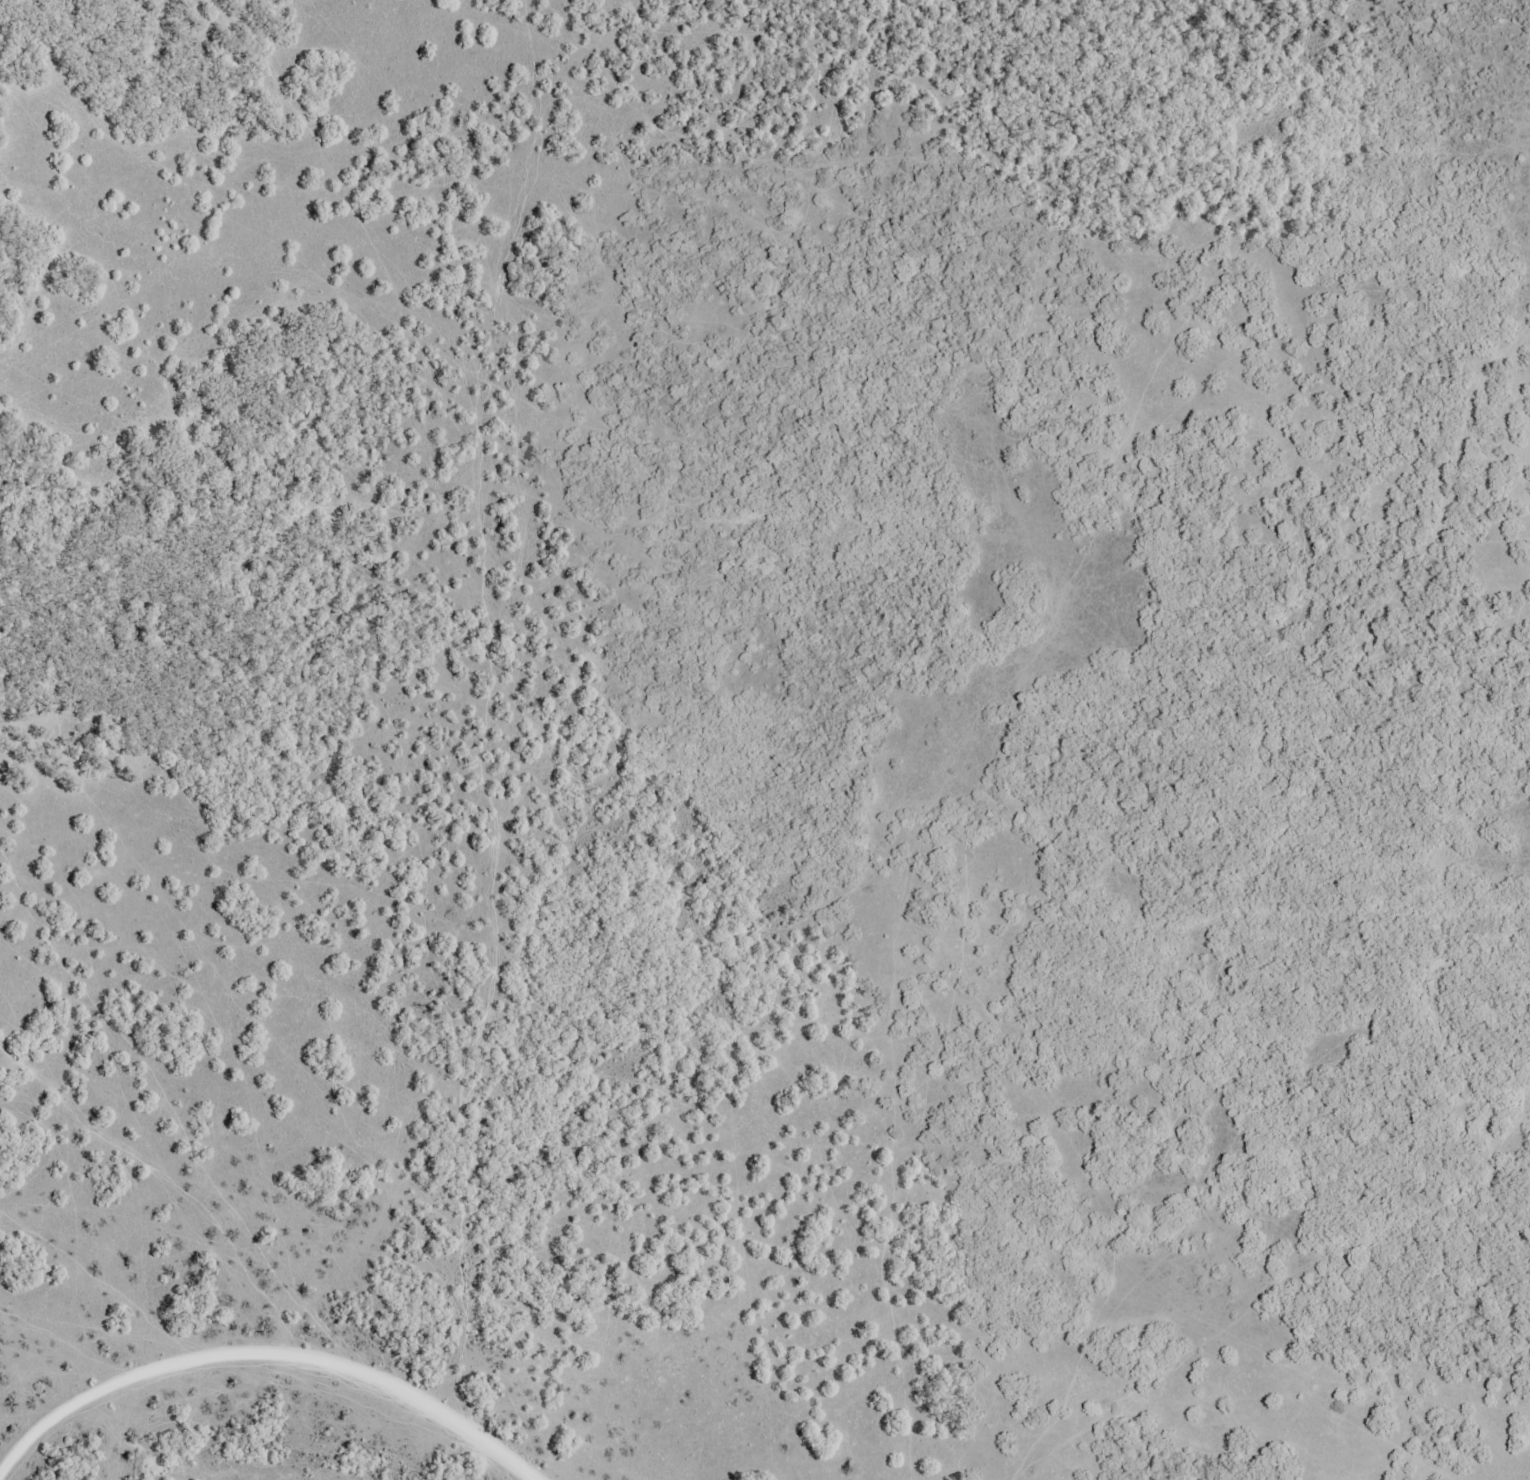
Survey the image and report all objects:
road: (280, 1328)

